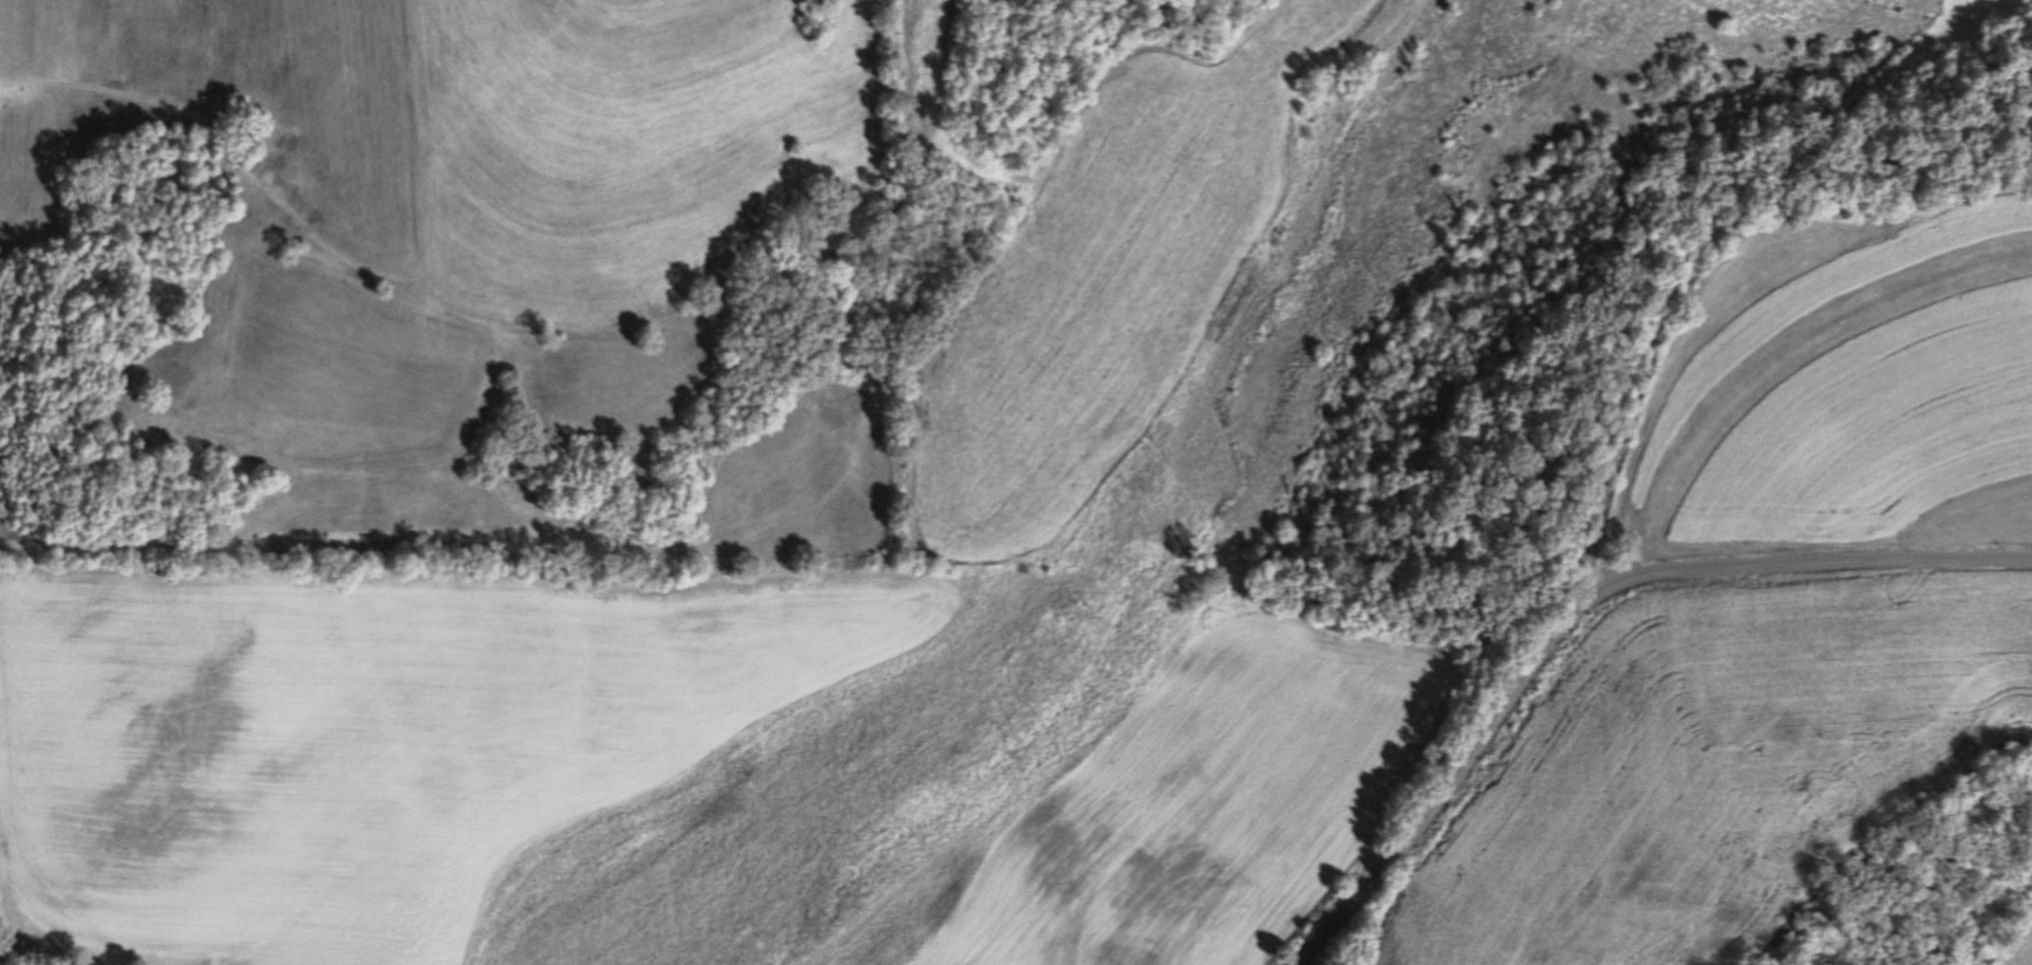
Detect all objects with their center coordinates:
road: (1583, 609)

